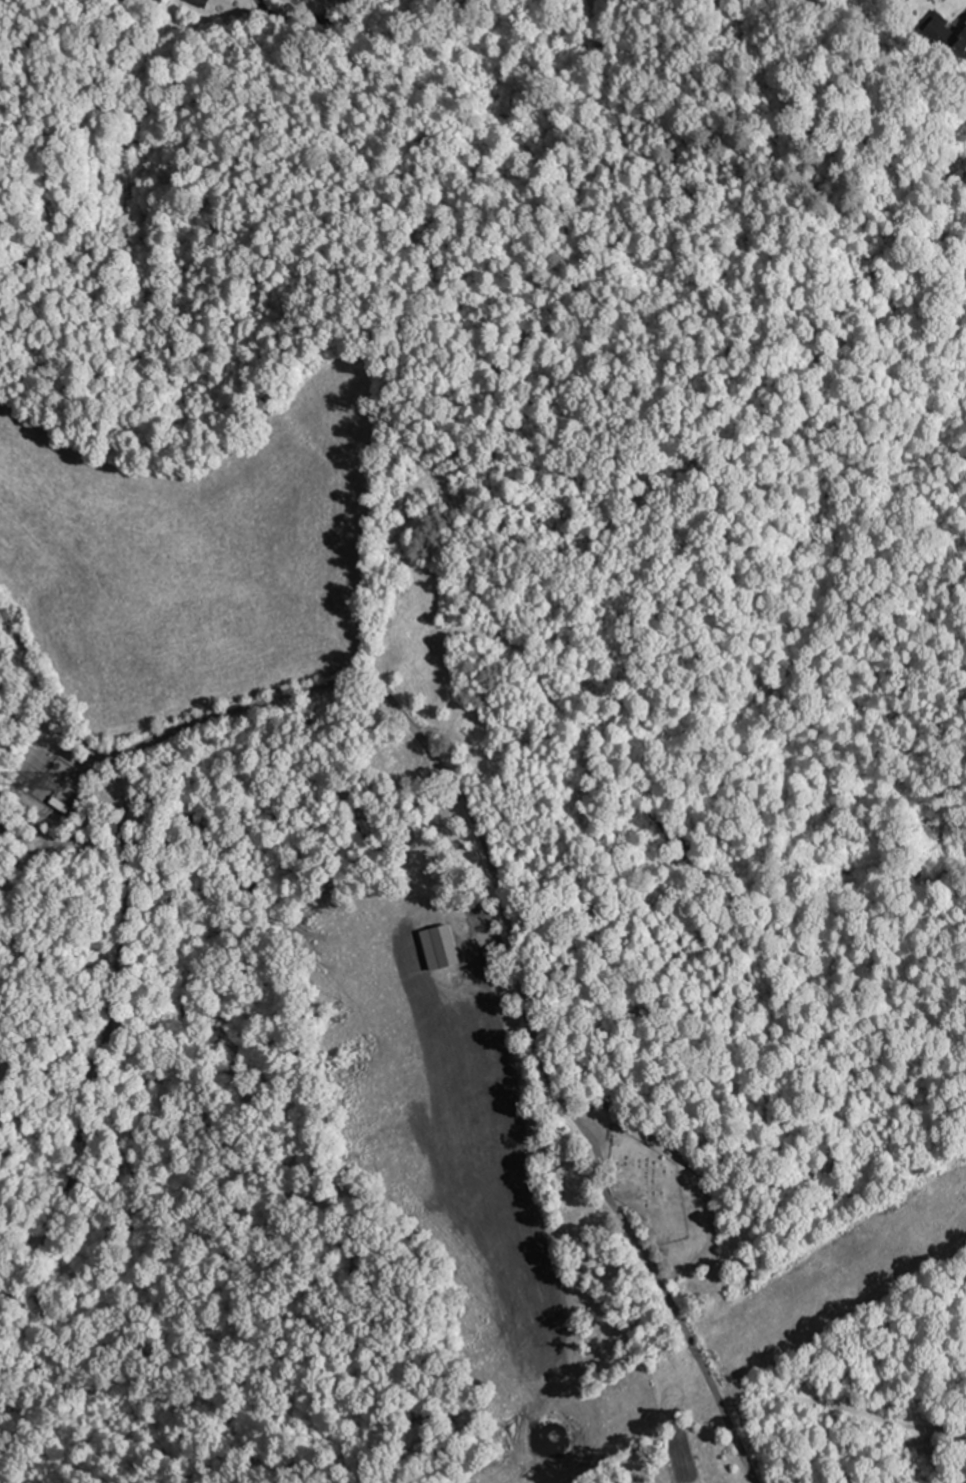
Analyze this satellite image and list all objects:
building: (203, 3)
building: (941, 35)
road: (491, 863)
building: (451, 948)
building: (499, 964)
road: (105, 1038)

